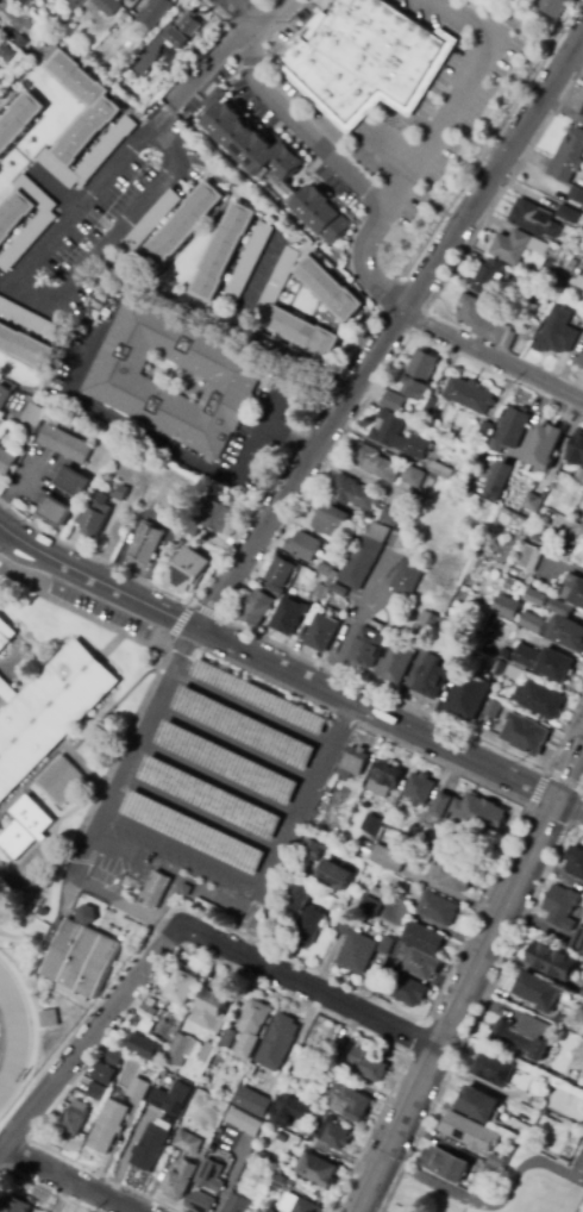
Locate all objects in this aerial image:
building: (126, 0)
building: (127, 0)
building: (24, 2)
building: (75, 4)
building: (107, 6)
building: (554, 7)
building: (156, 12)
road: (240, 14)
road: (271, 14)
building: (2, 20)
building: (106, 30)
building: (21, 40)
building: (169, 42)
building: (8, 54)
building: (368, 60)
building: (170, 73)
road: (458, 90)
building: (582, 113)
building: (19, 118)
building: (84, 125)
building: (569, 157)
road: (344, 163)
building: (274, 164)
building: (576, 198)
building: (569, 214)
building: (533, 219)
building: (151, 220)
building: (39, 225)
building: (180, 230)
building: (539, 246)
building: (510, 248)
road: (39, 250)
building: (222, 252)
building: (249, 262)
building: (569, 264)
building: (491, 276)
building: (277, 281)
building: (578, 281)
building: (328, 289)
building: (26, 318)
building: (484, 321)
road: (221, 326)
road: (389, 329)
building: (303, 333)
building: (557, 333)
building: (25, 348)
road: (491, 356)
building: (579, 360)
building: (582, 368)
building: (419, 374)
building: (115, 377)
building: (470, 394)
building: (5, 396)
building: (394, 401)
building: (432, 405)
building: (35, 416)
building: (512, 427)
building: (407, 429)
building: (29, 430)
building: (485, 430)
building: (397, 435)
building: (64, 444)
building: (544, 448)
building: (577, 449)
road: (201, 461)
building: (6, 462)
building: (375, 463)
building: (443, 468)
building: (579, 475)
building: (414, 477)
building: (496, 481)
building: (73, 482)
building: (120, 493)
building: (353, 493)
building: (159, 494)
building: (533, 504)
building: (167, 505)
building: (56, 512)
building: (215, 517)
building: (389, 517)
building: (94, 518)
building: (331, 521)
building: (192, 527)
building: (146, 544)
building: (302, 546)
building: (579, 555)
road: (92, 556)
building: (528, 557)
building: (361, 562)
building: (321, 568)
building: (189, 570)
building: (280, 571)
building: (518, 573)
building: (331, 574)
road: (95, 579)
building: (407, 579)
building: (274, 591)
building: (573, 591)
building: (339, 592)
building: (321, 593)
building: (537, 598)
building: (257, 607)
building: (507, 607)
building: (560, 608)
road: (77, 611)
road: (207, 612)
building: (288, 617)
road: (352, 619)
road: (178, 621)
building: (431, 621)
building: (533, 623)
building: (447, 629)
building: (5, 632)
building: (321, 633)
building: (568, 633)
road: (182, 645)
building: (369, 646)
building: (545, 662)
building: (394, 666)
building: (499, 668)
building: (514, 674)
building: (432, 677)
road: (263, 681)
road: (384, 695)
building: (468, 696)
building: (257, 698)
building: (540, 700)
building: (49, 710)
road: (249, 710)
building: (494, 710)
road: (377, 713)
road: (341, 717)
road: (337, 723)
building: (243, 727)
building: (526, 733)
road: (233, 743)
road: (132, 755)
building: (226, 762)
building: (355, 762)
road: (569, 771)
building: (63, 779)
road: (104, 779)
road: (217, 779)
road: (564, 780)
building: (380, 786)
parking lot: (225, 788)
building: (421, 788)
road: (537, 788)
building: (211, 796)
road: (570, 805)
building: (471, 811)
road: (201, 813)
road: (294, 817)
building: (29, 824)
building: (374, 825)
building: (192, 832)
road: (184, 849)
building: (366, 849)
road: (120, 850)
building: (314, 850)
building: (425, 854)
building: (390, 858)
building: (575, 862)
building: (453, 875)
building: (334, 876)
road: (38, 885)
building: (156, 889)
building: (186, 889)
building: (381, 889)
building: (300, 899)
road: (119, 901)
building: (562, 905)
building: (209, 907)
building: (372, 907)
building: (439, 908)
road: (497, 925)
building: (345, 926)
road: (163, 927)
building: (308, 927)
building: (425, 938)
building: (578, 942)
building: (383, 948)
building: (358, 954)
building: (79, 956)
building: (553, 961)
building: (422, 964)
building: (180, 987)
road: (307, 987)
building: (380, 987)
building: (409, 991)
building: (538, 991)
building: (582, 994)
road: (368, 995)
building: (212, 1010)
building: (149, 1013)
building: (255, 1018)
building: (46, 1019)
building: (525, 1035)
building: (225, 1036)
road: (89, 1037)
track: (13, 1038)
building: (278, 1042)
building: (143, 1047)
building: (181, 1049)
building: (341, 1050)
building: (207, 1052)
building: (113, 1057)
building: (368, 1064)
building: (495, 1069)
building: (319, 1072)
building: (104, 1074)
building: (524, 1080)
building: (137, 1089)
building: (96, 1092)
building: (173, 1099)
building: (252, 1104)
building: (352, 1104)
building: (478, 1104)
building: (537, 1104)
building: (282, 1111)
building: (73, 1120)
building: (244, 1122)
building: (106, 1126)
building: (464, 1130)
road: (397, 1131)
building: (334, 1133)
building: (280, 1137)
building: (150, 1148)
building: (500, 1161)
building: (446, 1164)
parking lot: (578, 1164)
building: (184, 1166)
building: (318, 1169)
building: (490, 1172)
road: (232, 1173)
building: (262, 1175)
building: (211, 1176)
road: (64, 1180)
building: (200, 1202)
building: (238, 1204)
building: (17, 1205)
building: (299, 1205)
road: (491, 1205)

